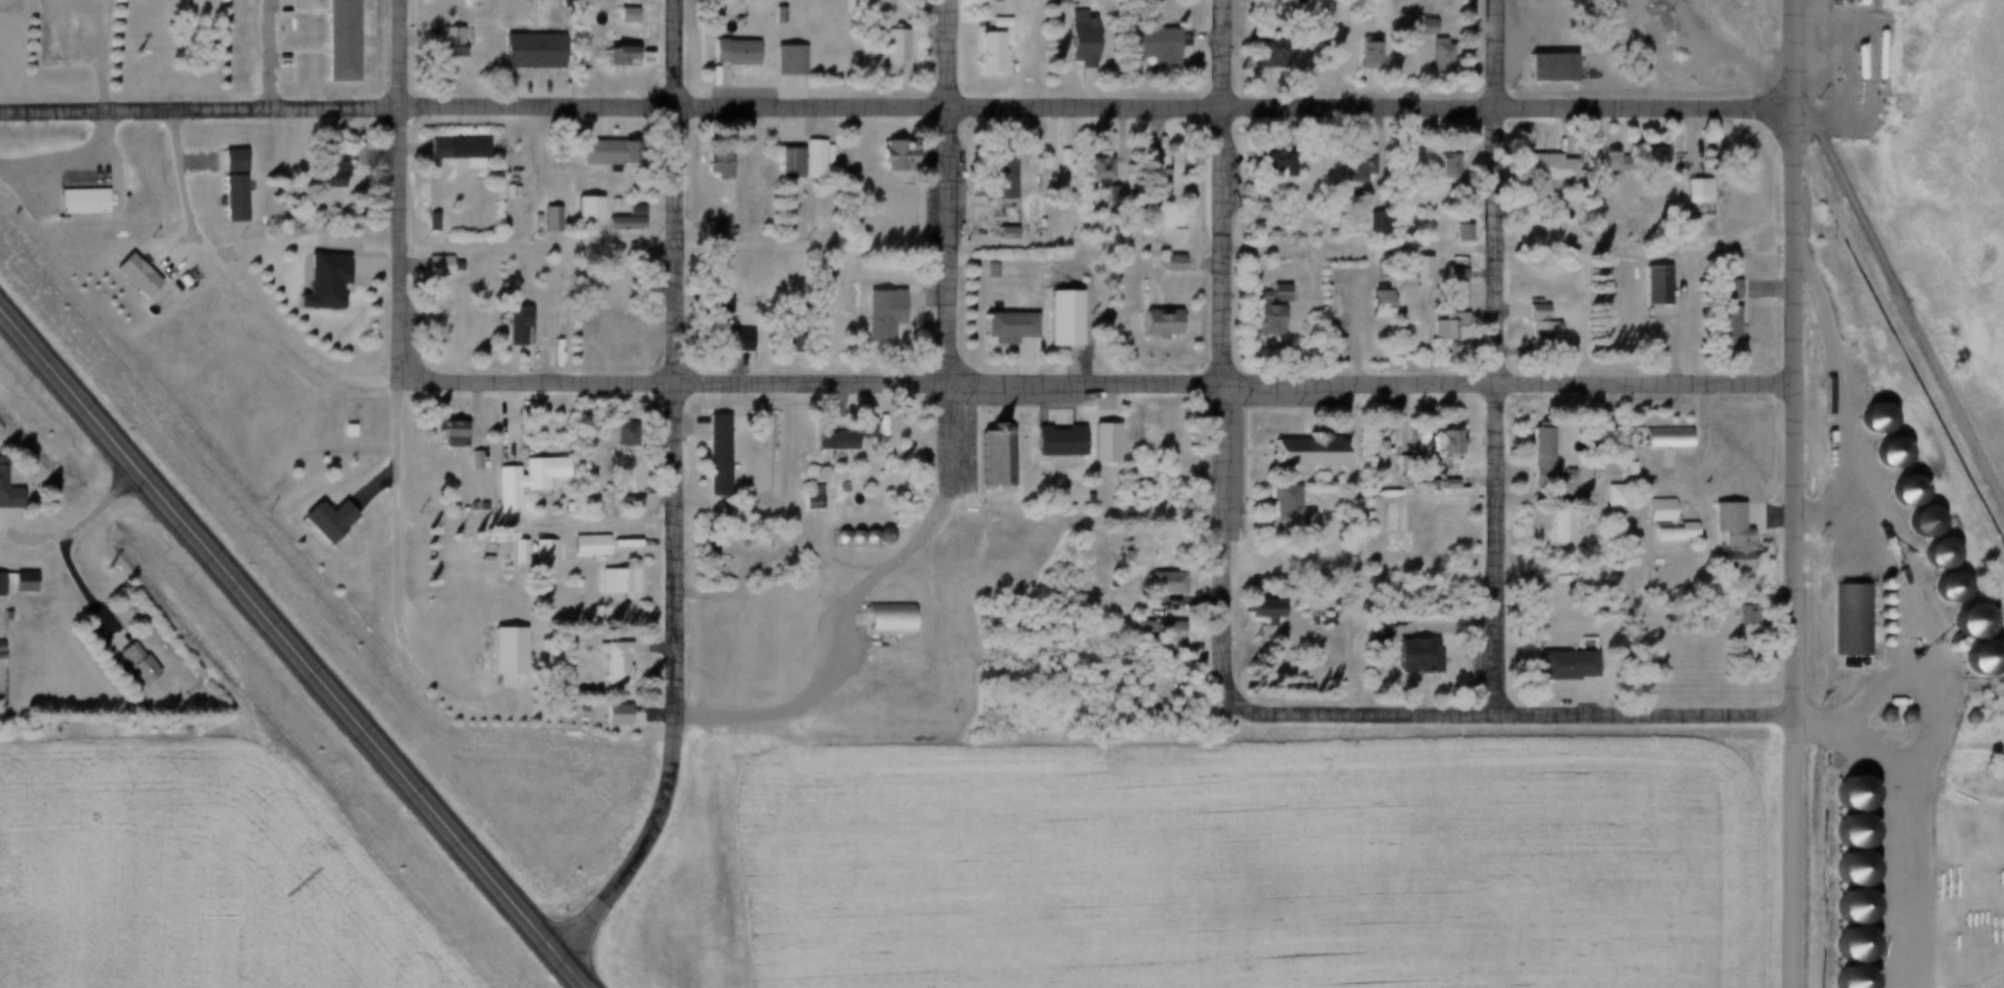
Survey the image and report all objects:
building: (1286, 0)
building: (983, 1)
building: (1050, 1)
building: (466, 3)
storage tank: (1843, 3)
storage tank: (1821, 4)
storage tank: (1832, 4)
building: (620, 15)
building: (771, 15)
road: (528, 17)
building: (993, 23)
building: (1416, 27)
building: (1073, 37)
building: (335, 41)
building: (1147, 44)
park: (142, 48)
building: (443, 48)
building: (886, 49)
building: (524, 50)
building: (1260, 52)
building: (726, 53)
building: (1360, 53)
road: (105, 54)
road: (271, 54)
building: (613, 55)
building: (982, 55)
storage tank: (1870, 55)
building: (1433, 57)
building: (783, 61)
storage tank: (1848, 63)
building: (1542, 69)
road: (528, 72)
parking lot: (530, 87)
road: (1100, 103)
road: (201, 108)
railway: (1665, 121)
building: (449, 151)
building: (596, 153)
building: (1654, 156)
building: (883, 157)
road: (70, 158)
building: (1056, 158)
building: (808, 159)
building: (1613, 159)
building: (713, 162)
building: (1643, 163)
building: (783, 164)
building: (1143, 164)
building: (1353, 164)
building: (1599, 165)
building: (1266, 166)
building: (1438, 167)
building: (1531, 167)
building: (1091, 169)
building: (324, 174)
building: (994, 177)
building: (1173, 177)
building: (1164, 178)
road: (403, 189)
road: (952, 190)
building: (1686, 193)
building: (1063, 198)
building: (1144, 198)
building: (228, 199)
building: (75, 202)
building: (608, 203)
building: (1090, 206)
building: (579, 210)
building: (628, 210)
building: (544, 220)
building: (1590, 220)
building: (426, 222)
building: (1370, 222)
building: (618, 223)
building: (1032, 223)
building: (702, 230)
building: (1457, 233)
building: (996, 235)
road: (540, 242)
building: (1164, 264)
building: (431, 266)
building: (990, 268)
building: (790, 269)
building: (1414, 269)
building: (825, 271)
building: (982, 271)
building: (128, 276)
building: (176, 279)
road: (1904, 280)
building: (316, 282)
road: (246, 284)
building: (1647, 287)
building: (1718, 291)
building: (1271, 294)
building: (1251, 297)
building: (1373, 307)
building: (873, 316)
building: (1259, 319)
building: (708, 321)
building: (1052, 321)
building: (445, 323)
building: (509, 325)
building: (1150, 325)
building: (1454, 327)
building: (1529, 327)
building: (998, 329)
building: (1717, 329)
building: (1435, 331)
building: (606, 333)
building: (788, 343)
building: (809, 343)
road: (1228, 350)
road: (677, 355)
road: (1500, 356)
road: (1798, 356)
road: (1101, 381)
building: (1869, 420)
silo: (1869, 420)
building: (856, 428)
building: (347, 429)
building: (340, 431)
building: (442, 431)
building: (622, 432)
building: (614, 435)
building: (1608, 437)
building: (1658, 438)
building: (1600, 440)
building: (828, 442)
building: (1046, 443)
building: (1442, 444)
building: (1093, 445)
building: (1384, 446)
building: (1375, 450)
building: (1295, 453)
building: (710, 455)
building: (1883, 455)
silo: (1883, 455)
building: (477, 458)
building: (1534, 458)
building: (468, 461)
building: (984, 462)
building: (1622, 469)
building: (516, 482)
road: (958, 483)
building: (1426, 484)
building: (1441, 485)
building: (840, 493)
building: (1901, 493)
silo: (1901, 493)
building: (1606, 496)
building: (804, 498)
building: (6, 499)
building: (621, 504)
building: (1279, 509)
building: (1652, 510)
road: (86, 517)
building: (1560, 520)
building: (317, 522)
building: (1918, 523)
silo: (1918, 523)
building: (1550, 527)
building: (1666, 532)
building: (879, 534)
silo: (879, 534)
building: (862, 536)
silo: (862, 536)
building: (1722, 536)
building: (834, 537)
silo: (834, 537)
building: (848, 537)
silo: (848, 537)
building: (581, 546)
building: (736, 548)
building: (519, 549)
road: (783, 550)
building: (511, 553)
building: (536, 555)
building: (1932, 555)
silo: (1932, 555)
building: (1117, 558)
building: (1, 582)
road: (396, 582)
building: (609, 582)
building: (15, 583)
building: (1156, 583)
building: (570, 585)
building: (356, 586)
building: (1873, 586)
silo: (1873, 586)
building: (1942, 589)
silo: (1942, 589)
building: (1874, 600)
silo: (1874, 600)
building: (1254, 611)
building: (1742, 614)
building: (1874, 615)
silo: (1874, 615)
building: (0, 616)
road: (1923, 616)
building: (883, 618)
building: (1846, 620)
road: (1443, 622)
building: (1962, 623)
silo: (1962, 623)
building: (1150, 629)
building: (1376, 629)
building: (1874, 630)
silo: (1874, 630)
road: (296, 643)
building: (1874, 643)
silo: (1874, 643)
building: (1945, 647)
silo: (1945, 647)
building: (499, 653)
building: (1402, 653)
building: (1975, 659)
silo: (1975, 659)
building: (607, 663)
building: (128, 665)
building: (1557, 666)
road: (821, 688)
building: (2000, 693)
silo: (2000, 693)
road: (1519, 713)
building: (607, 715)
building: (1879, 716)
silo: (1879, 716)
building: (1900, 717)
silo: (1900, 717)
building: (1963, 717)
silo: (1963, 717)
building: (1846, 795)
silo: (1846, 795)
building: (1846, 833)
silo: (1846, 833)
road: (1890, 837)
road: (646, 843)
road: (1801, 850)
building: (1846, 871)
silo: (1846, 871)
building: (1846, 909)
silo: (1846, 909)
building: (1846, 947)
silo: (1846, 947)
building: (1846, 979)
silo: (1846, 979)

